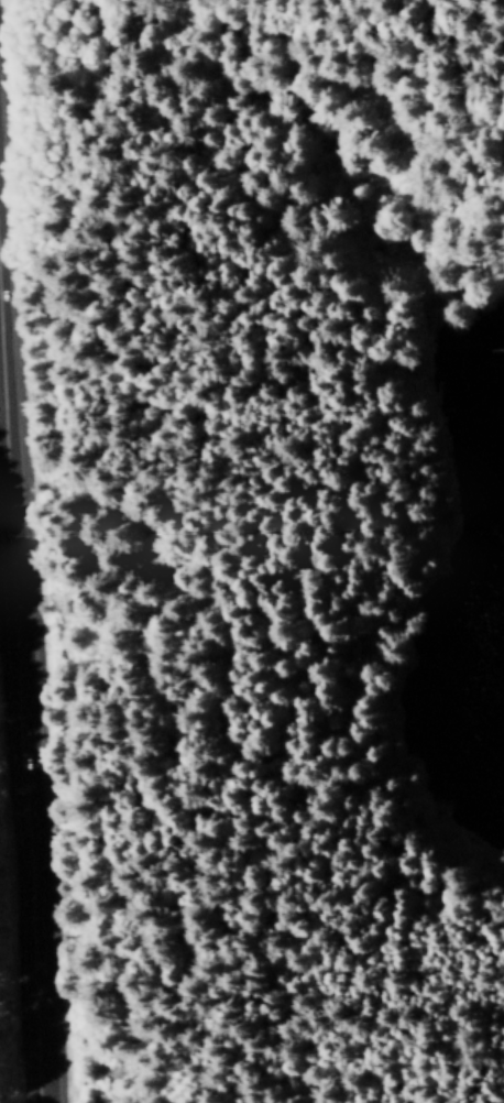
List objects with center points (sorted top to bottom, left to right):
road: (12, 559)
road: (33, 921)

